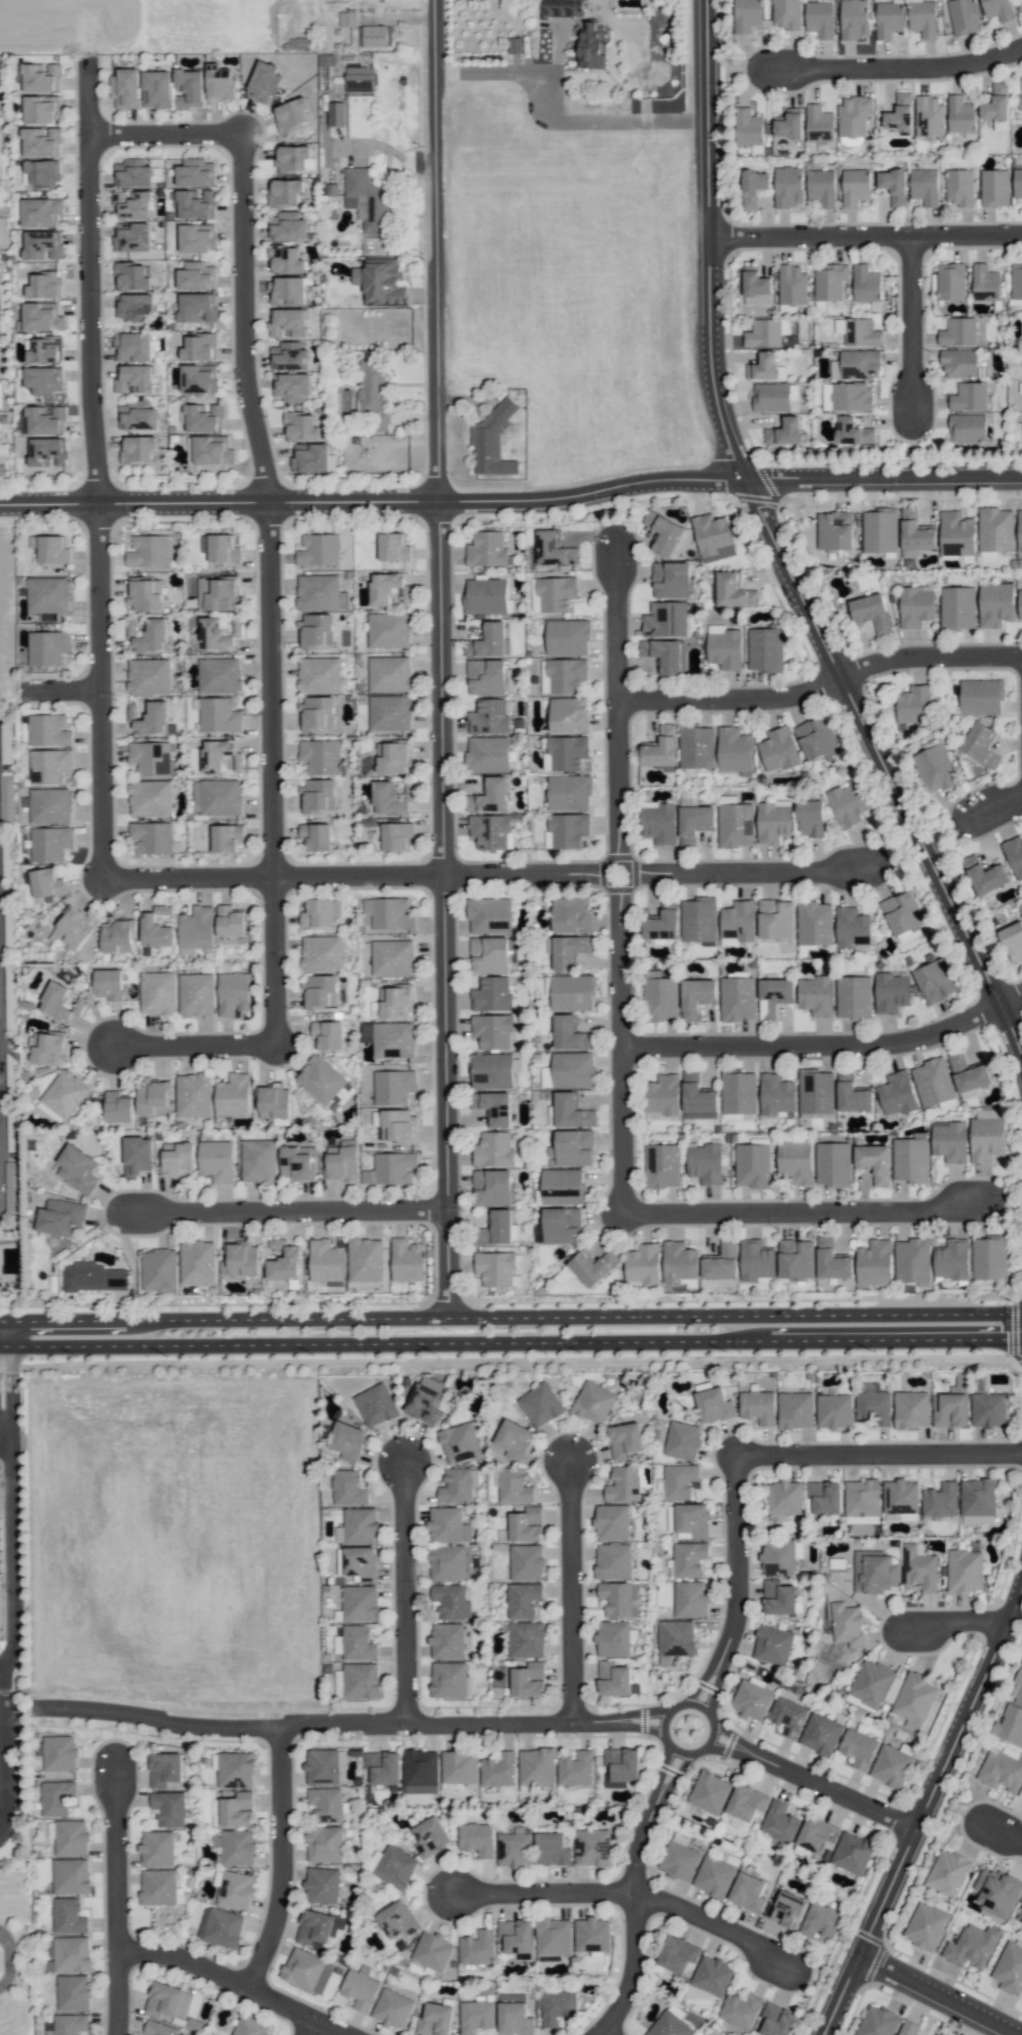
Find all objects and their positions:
building: (561, 8)
building: (998, 9)
building: (787, 14)
building: (746, 15)
building: (963, 16)
building: (922, 18)
building: (819, 19)
building: (854, 19)
building: (888, 19)
building: (365, 32)
road: (85, 36)
building: (592, 45)
road: (898, 67)
building: (41, 77)
building: (359, 79)
building: (219, 82)
building: (263, 82)
building: (125, 88)
building: (189, 88)
building: (156, 89)
building: (1020, 91)
building: (996, 106)
building: (40, 109)
building: (336, 113)
building: (899, 113)
building: (960, 114)
building: (291, 115)
building: (853, 116)
building: (929, 116)
road: (558, 120)
building: (819, 123)
building: (788, 124)
building: (748, 127)
road: (162, 132)
building: (41, 141)
road: (384, 146)
building: (291, 158)
building: (43, 172)
building: (195, 172)
building: (132, 173)
building: (1017, 183)
building: (821, 186)
building: (894, 186)
building: (924, 186)
building: (753, 187)
building: (788, 187)
building: (855, 187)
building: (959, 187)
building: (994, 187)
building: (284, 192)
building: (368, 199)
building: (133, 204)
building: (196, 204)
building: (40, 212)
building: (287, 226)
road: (868, 236)
building: (132, 237)
building: (197, 238)
building: (43, 245)
building: (285, 259)
building: (133, 276)
building: (196, 276)
building: (1016, 280)
building: (380, 281)
building: (829, 281)
building: (951, 281)
building: (985, 282)
building: (866, 284)
building: (44, 285)
building: (792, 285)
building: (753, 286)
road: (86, 288)
building: (286, 291)
building: (196, 307)
building: (135, 308)
building: (42, 316)
road: (240, 318)
building: (288, 322)
road: (918, 327)
building: (861, 332)
building: (958, 332)
building: (763, 333)
building: (133, 346)
building: (199, 348)
building: (288, 356)
building: (959, 363)
building: (859, 364)
building: (198, 378)
building: (135, 379)
building: (43, 380)
building: (292, 386)
building: (373, 390)
building: (846, 396)
building: (775, 397)
building: (969, 397)
building: (137, 416)
building: (202, 417)
building: (45, 420)
building: (301, 426)
building: (967, 427)
building: (784, 431)
building: (852, 431)
building: (491, 444)
building: (138, 449)
building: (210, 450)
building: (47, 452)
building: (311, 458)
road: (511, 500)
building: (995, 529)
building: (1019, 529)
building: (834, 530)
building: (880, 530)
building: (663, 532)
building: (915, 534)
building: (956, 534)
building: (713, 537)
road: (780, 542)
building: (220, 547)
building: (393, 547)
building: (50, 549)
building: (487, 549)
building: (554, 549)
building: (318, 550)
building: (148, 551)
building: (672, 579)
building: (387, 589)
building: (734, 590)
building: (317, 592)
building: (48, 594)
building: (144, 594)
building: (216, 594)
building: (553, 594)
building: (485, 596)
building: (995, 604)
building: (1020, 604)
building: (916, 606)
building: (957, 607)
building: (871, 612)
building: (665, 619)
road: (620, 622)
building: (316, 629)
building: (389, 630)
building: (217, 634)
building: (152, 636)
building: (567, 637)
building: (489, 641)
building: (48, 647)
building: (724, 647)
building: (765, 649)
building: (666, 655)
road: (442, 658)
building: (389, 673)
building: (318, 674)
building: (219, 675)
building: (148, 676)
building: (486, 677)
road: (823, 686)
road: (60, 690)
road: (102, 690)
building: (981, 697)
building: (914, 705)
building: (317, 712)
building: (390, 712)
building: (218, 715)
building: (568, 715)
building: (489, 717)
building: (153, 719)
building: (48, 730)
building: (818, 739)
building: (981, 745)
building: (696, 747)
building: (661, 748)
building: (778, 750)
building: (735, 751)
building: (566, 752)
building: (487, 754)
building: (320, 756)
building: (394, 757)
building: (150, 758)
building: (49, 766)
building: (935, 768)
road: (273, 773)
building: (408, 791)
building: (569, 792)
building: (318, 795)
building: (489, 796)
building: (220, 797)
building: (7, 798)
building: (150, 798)
building: (386, 799)
building: (848, 804)
road: (999, 804)
building: (50, 806)
building: (810, 818)
building: (773, 821)
building: (659, 822)
building: (694, 822)
building: (735, 825)
building: (566, 830)
building: (316, 836)
building: (396, 836)
building: (151, 837)
building: (226, 837)
building: (50, 843)
building: (1014, 855)
road: (649, 873)
building: (984, 875)
road: (274, 877)
building: (46, 883)
building: (319, 912)
building: (902, 912)
building: (388, 913)
building: (489, 915)
building: (571, 915)
building: (698, 919)
building: (775, 919)
building: (230, 921)
building: (738, 921)
building: (662, 922)
building: (814, 923)
building: (74, 927)
building: (157, 928)
building: (852, 928)
building: (196, 930)
building: (117, 935)
building: (1012, 940)
building: (570, 951)
building: (322, 953)
building: (490, 954)
road: (622, 956)
building: (393, 957)
building: (935, 981)
building: (109, 984)
building: (320, 991)
building: (572, 992)
building: (891, 992)
building: (157, 993)
building: (232, 993)
building: (196, 994)
building: (491, 994)
building: (816, 995)
building: (774, 996)
building: (853, 996)
building: (660, 997)
building: (696, 997)
building: (737, 998)
building: (59, 1002)
building: (395, 1002)
building: (492, 1031)
building: (570, 1033)
building: (328, 1034)
building: (393, 1039)
road: (827, 1045)
road: (195, 1046)
building: (49, 1049)
building: (491, 1070)
building: (573, 1070)
building: (968, 1074)
building: (320, 1079)
building: (932, 1082)
building: (393, 1086)
building: (815, 1091)
building: (738, 1092)
building: (897, 1093)
building: (852, 1094)
building: (193, 1095)
building: (233, 1095)
building: (662, 1095)
building: (776, 1095)
building: (63, 1096)
building: (152, 1098)
building: (697, 1098)
building: (274, 1102)
building: (493, 1106)
building: (118, 1107)
building: (569, 1112)
building: (397, 1126)
building: (987, 1138)
building: (950, 1141)
building: (571, 1148)
building: (494, 1149)
building: (137, 1155)
building: (179, 1159)
building: (216, 1160)
building: (910, 1160)
building: (258, 1161)
building: (343, 1161)
building: (795, 1161)
building: (297, 1162)
building: (874, 1162)
building: (705, 1163)
building: (833, 1164)
building: (752, 1165)
building: (662, 1166)
building: (391, 1168)
building: (77, 1169)
building: (562, 1186)
building: (11, 1187)
building: (492, 1187)
road: (288, 1212)
road: (795, 1213)
building: (60, 1216)
building: (561, 1225)
building: (495, 1229)
building: (989, 1258)
building: (365, 1259)
building: (796, 1259)
building: (952, 1259)
building: (240, 1260)
building: (406, 1260)
building: (756, 1260)
building: (832, 1260)
building: (912, 1260)
building: (325, 1261)
building: (678, 1261)
building: (721, 1261)
building: (197, 1262)
building: (283, 1262)
building: (874, 1262)
building: (642, 1264)
building: (593, 1266)
building: (495, 1268)
building: (158, 1270)
building: (94, 1277)
road: (511, 1317)
road: (63, 1331)
road: (512, 1343)
road: (1, 1345)
building: (593, 1402)
building: (423, 1404)
building: (540, 1404)
building: (873, 1404)
building: (952, 1404)
building: (375, 1405)
building: (714, 1405)
building: (757, 1406)
building: (911, 1409)
building: (989, 1409)
building: (795, 1410)
building: (833, 1411)
building: (513, 1439)
building: (625, 1439)
building: (347, 1440)
building: (682, 1440)
building: (459, 1442)
road: (1, 1447)
road: (879, 1452)
building: (677, 1481)
building: (458, 1485)
building: (512, 1486)
building: (348, 1488)
building: (824, 1496)
building: (784, 1497)
building: (862, 1497)
building: (940, 1500)
building: (978, 1501)
building: (862, 1519)
building: (691, 1521)
building: (611, 1522)
building: (359, 1525)
building: (448, 1525)
building: (523, 1525)
building: (778, 1557)
building: (687, 1559)
building: (613, 1561)
building: (360, 1562)
building: (526, 1562)
building: (449, 1563)
building: (919, 1568)
building: (964, 1570)
building: (874, 1572)
road: (10, 1587)
road: (405, 1588)
road: (571, 1588)
building: (779, 1597)
building: (619, 1599)
building: (690, 1599)
building: (522, 1600)
building: (451, 1601)
building: (359, 1603)
building: (0, 1619)
road: (955, 1620)
building: (847, 1624)
building: (613, 1638)
building: (675, 1638)
building: (526, 1639)
building: (447, 1641)
building: (355, 1643)
building: (773, 1644)
building: (1021, 1664)
road: (0, 1669)
building: (448, 1679)
building: (615, 1679)
building: (528, 1680)
building: (359, 1681)
building: (871, 1683)
building: (1019, 1693)
building: (751, 1700)
building: (914, 1700)
building: (787, 1716)
road: (482, 1723)
building: (1010, 1725)
building: (820, 1734)
parking lot: (10, 1742)
road: (674, 1746)
building: (858, 1748)
building: (58, 1752)
building: (320, 1766)
building: (459, 1766)
building: (536, 1766)
building: (891, 1766)
building: (382, 1767)
building: (620, 1767)
building: (576, 1768)
building: (165, 1769)
building: (233, 1769)
building: (1002, 1769)
building: (499, 1770)
building: (420, 1771)
building: (709, 1792)
building: (56, 1798)
building: (326, 1804)
building: (744, 1805)
building: (169, 1808)
building: (237, 1810)
road: (922, 1810)
building: (779, 1824)
road: (1006, 1832)
building: (816, 1834)
building: (71, 1837)
building: (430, 1837)
building: (476, 1839)
building: (324, 1844)
building: (237, 1847)
building: (591, 1847)
building: (157, 1848)
building: (514, 1848)
building: (551, 1849)
building: (852, 1853)
road: (280, 1860)
building: (679, 1861)
building: (394, 1867)
building: (948, 1873)
building: (714, 1875)
building: (70, 1876)
building: (321, 1885)
building: (158, 1887)
building: (235, 1889)
road: (540, 1892)
building: (748, 1892)
building: (997, 1892)
road: (116, 1897)
building: (785, 1909)
building: (68, 1916)
building: (398, 1920)
building: (820, 1920)
road: (717, 1924)
building: (318, 1926)
building: (925, 1926)
building: (220, 1927)
building: (516, 1935)
building: (591, 1935)
building: (553, 1936)
road: (3, 1937)
building: (971, 1946)
building: (477, 1948)
building: (432, 1951)
building: (69, 1954)
building: (677, 1954)
road: (9, 1964)
building: (1009, 1969)
building: (306, 1971)
building: (712, 1975)
road: (233, 1983)
building: (73, 1993)
road: (941, 1995)
building: (167, 2001)
building: (557, 2007)
building: (392, 2008)
building: (740, 2010)
building: (514, 2015)
building: (476, 2016)
building: (434, 2020)
building: (775, 2020)
building: (878, 2021)
building: (67, 2024)
building: (669, 2025)
building: (250, 2026)
building: (159, 2028)
road: (312, 2028)
building: (908, 2028)
road: (607, 2030)

